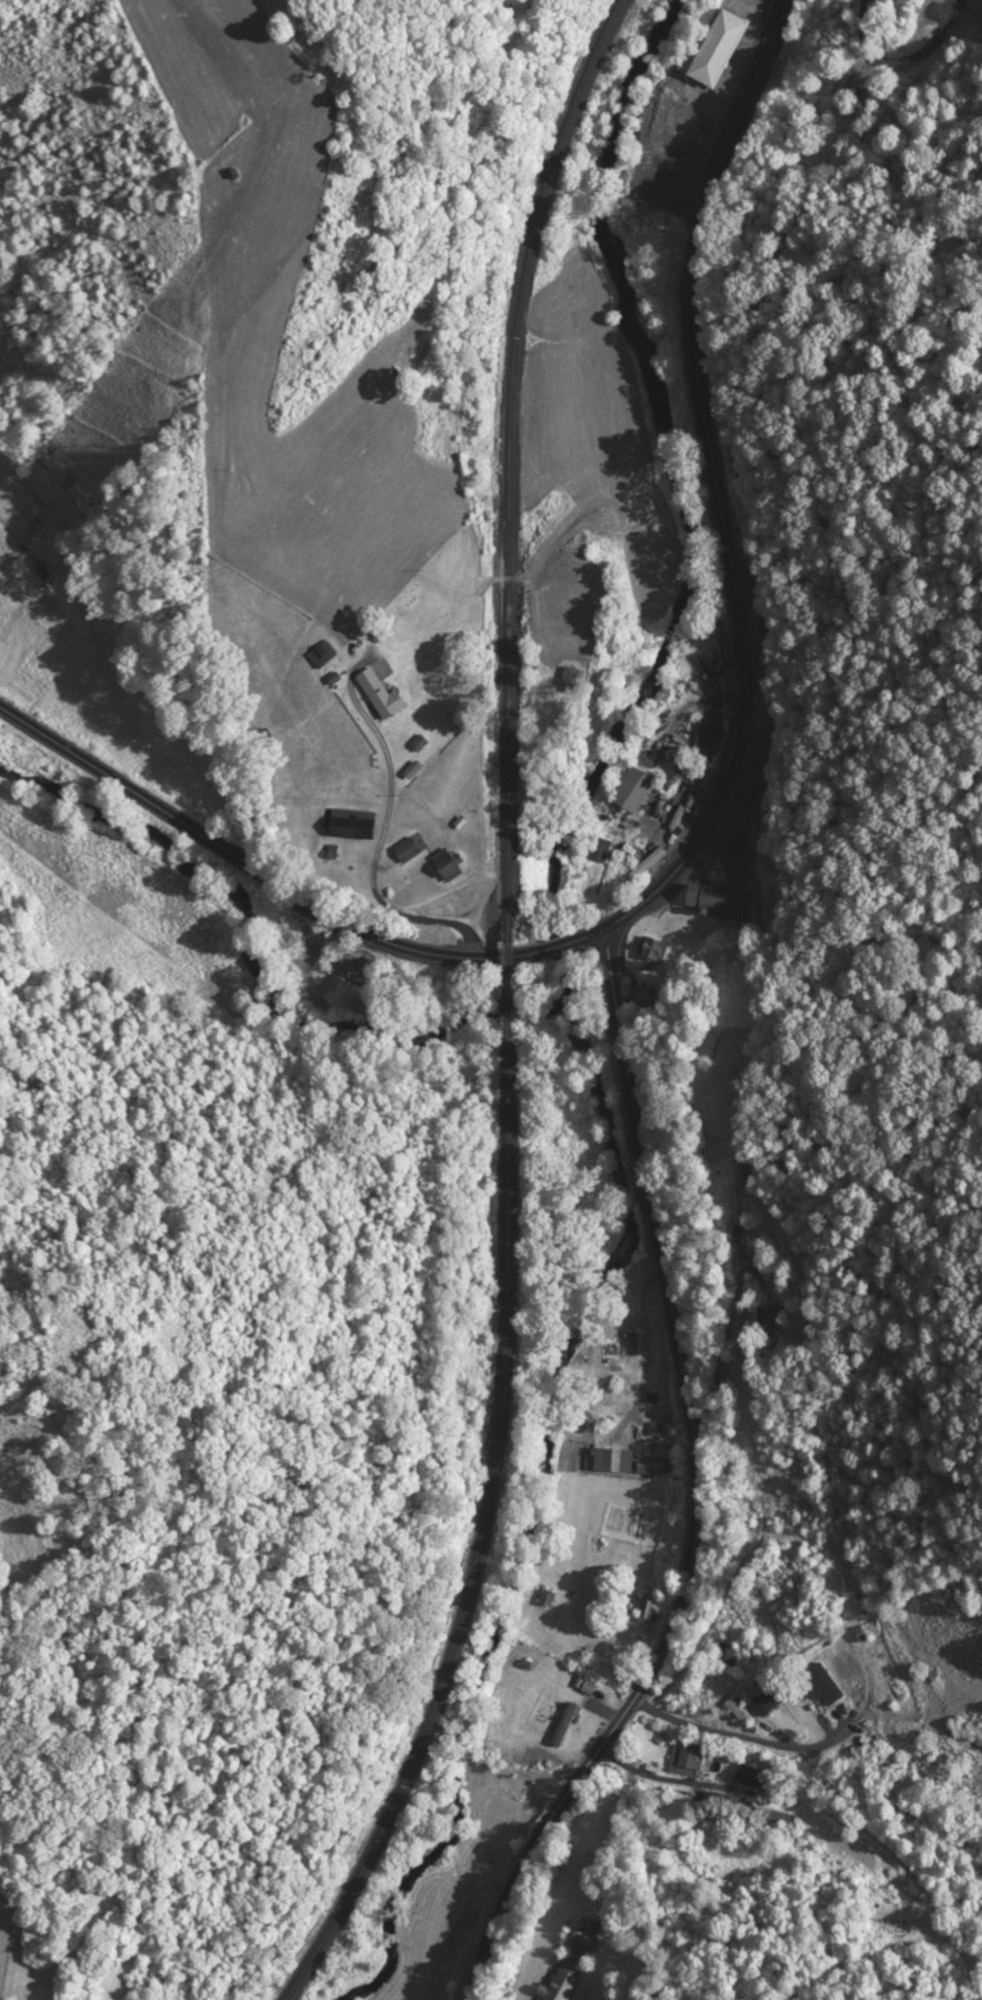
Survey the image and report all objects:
building: (711, 46)
road: (903, 61)
railway: (509, 449)
road: (723, 489)
building: (318, 652)
building: (563, 676)
building: (374, 691)
building: (698, 745)
building: (629, 790)
building: (347, 821)
building: (402, 847)
road: (375, 850)
road: (250, 863)
building: (439, 863)
building: (591, 864)
road: (558, 945)
building: (648, 945)
railway: (501, 985)
river: (560, 1016)
building: (769, 1314)
road: (719, 1365)
building: (619, 1459)
road: (695, 1491)
railway: (478, 1545)
building: (544, 1595)
building: (651, 1607)
building: (722, 1651)
building: (819, 1682)
building: (763, 1698)
building: (734, 1709)
building: (561, 1722)
building: (683, 1759)
building: (749, 1776)
building: (775, 1814)

